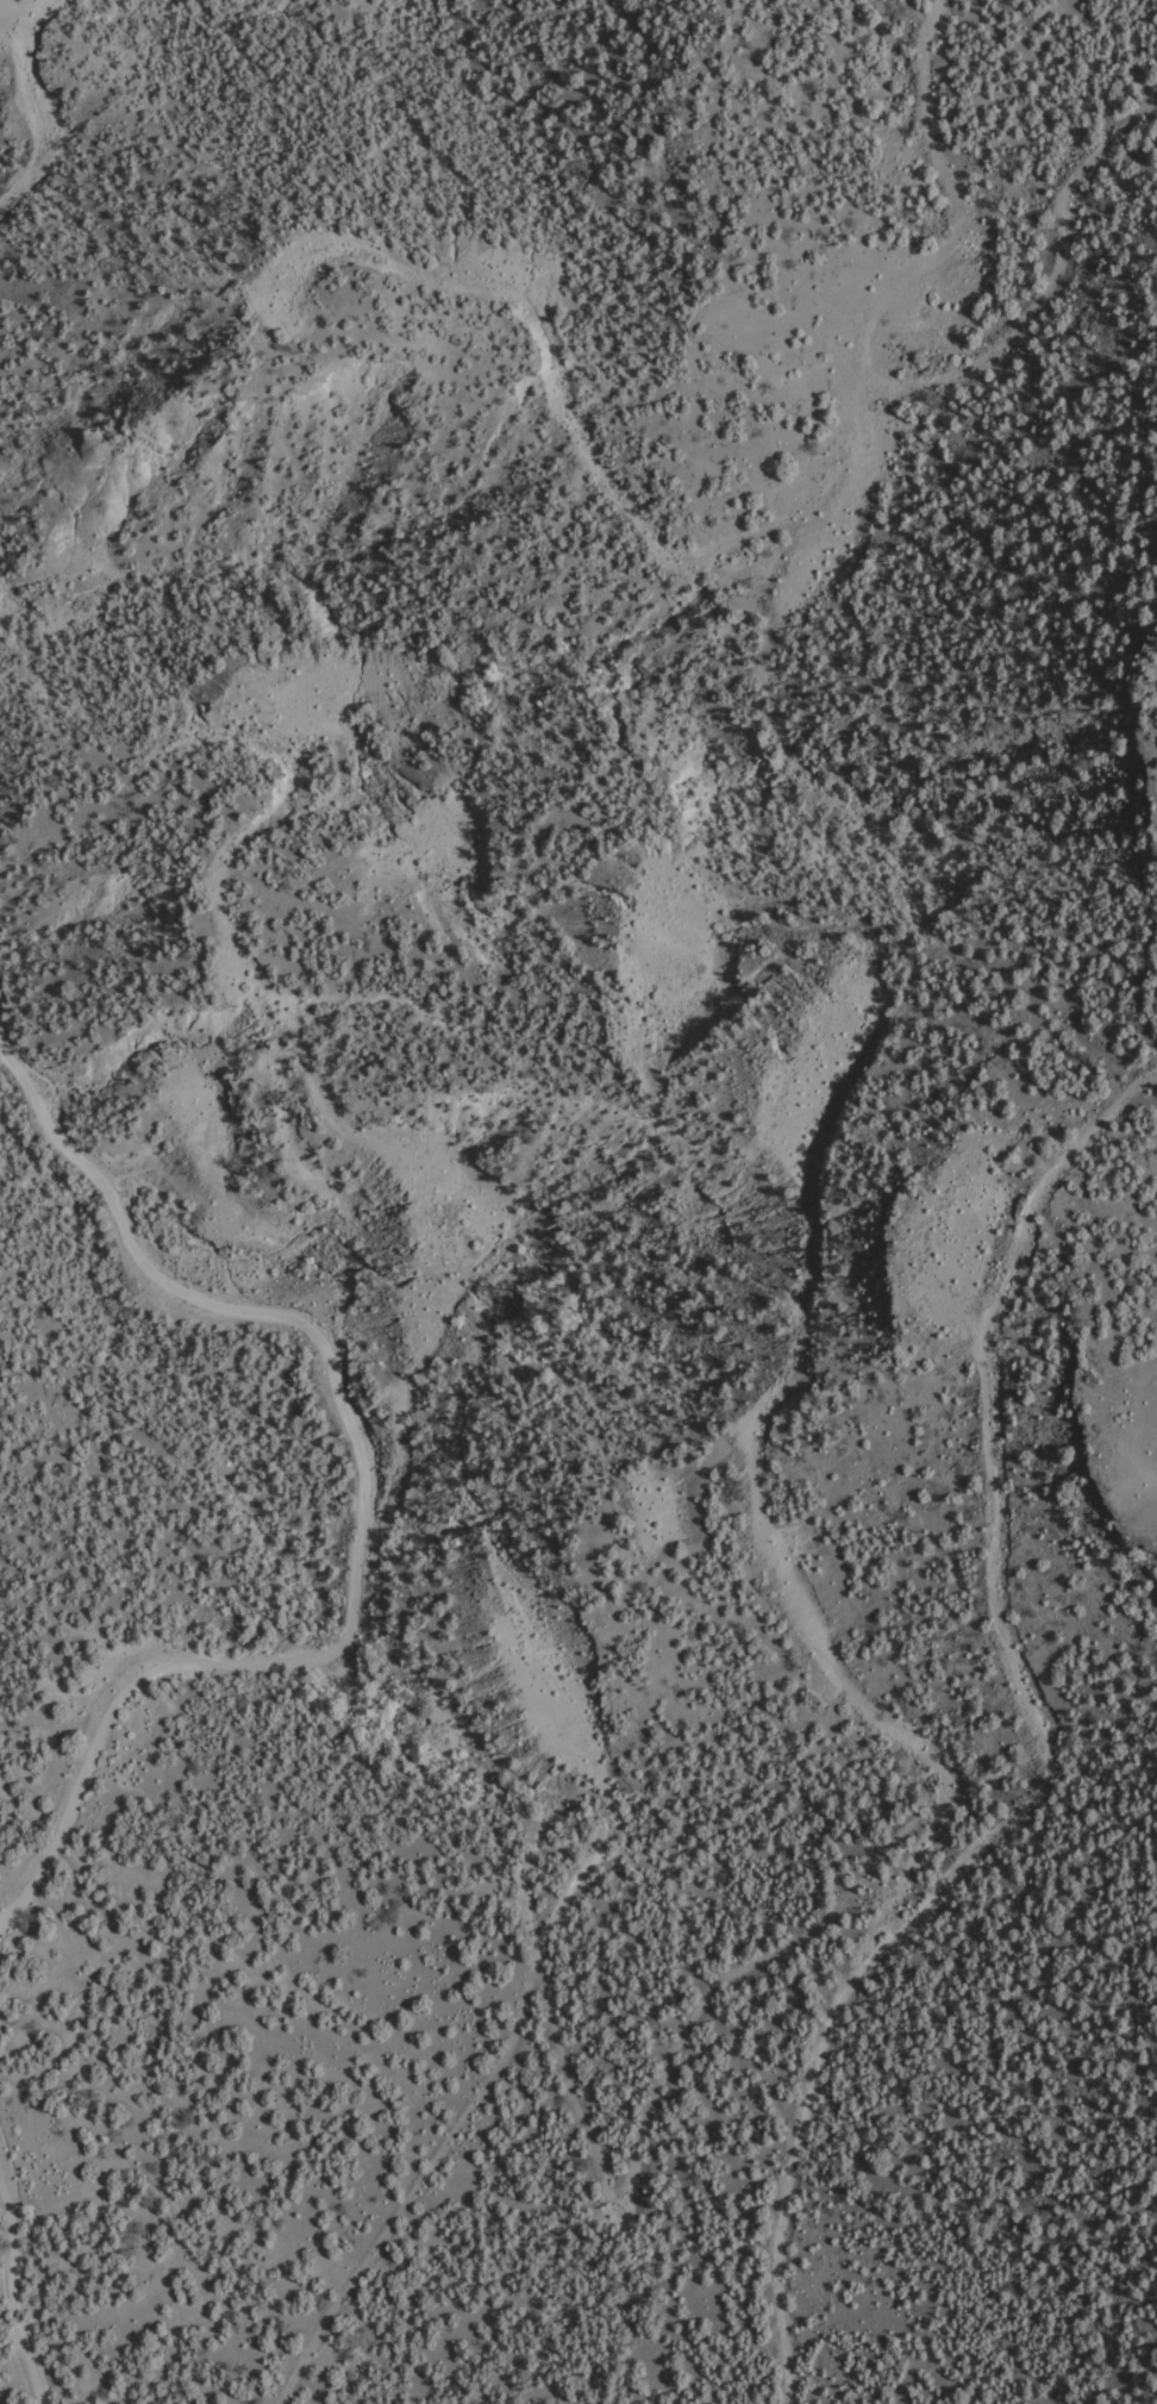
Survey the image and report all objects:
road: (39, 144)
road: (856, 374)
road: (280, 1560)
road: (1020, 1766)
road: (19, 1967)

